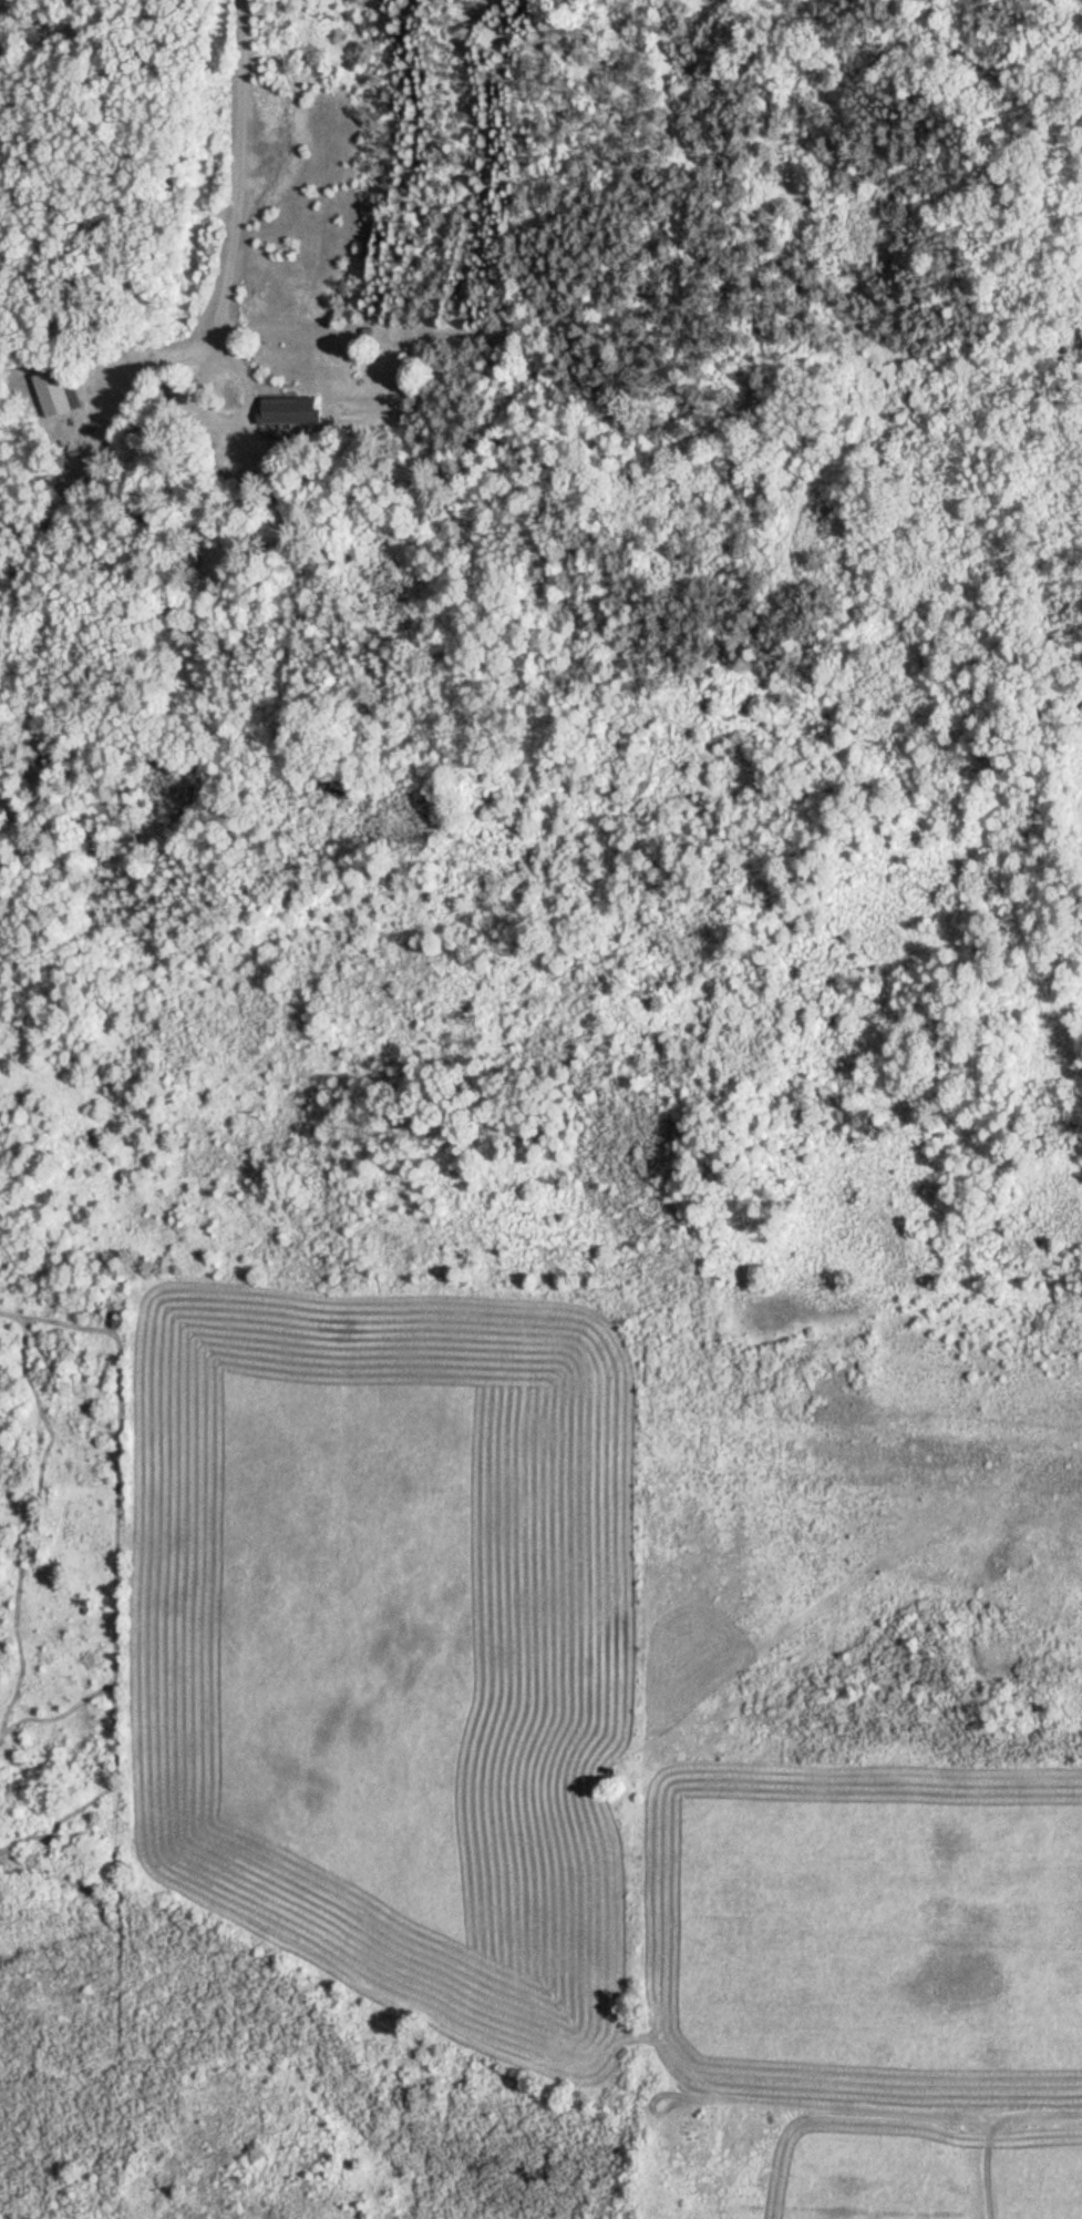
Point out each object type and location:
road: (229, 218)
building: (60, 391)
building: (291, 410)
road: (1034, 2196)

